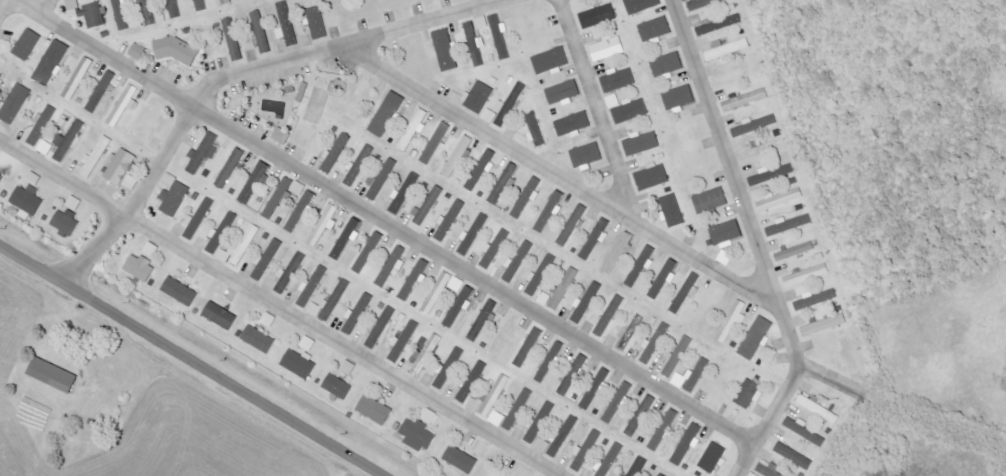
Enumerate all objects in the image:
road: (0, 0)
road: (27, 1)
building: (226, 2)
building: (703, 3)
building: (73, 5)
building: (202, 5)
building: (642, 5)
building: (175, 9)
building: (148, 12)
building: (92, 15)
building: (121, 15)
building: (598, 16)
building: (317, 23)
building: (482, 23)
building: (286, 24)
building: (720, 25)
building: (655, 29)
building: (261, 32)
building: (500, 37)
building: (233, 39)
building: (27, 44)
building: (475, 44)
building: (608, 48)
building: (727, 48)
building: (446, 50)
building: (137, 51)
building: (51, 62)
building: (667, 64)
building: (548, 65)
road: (237, 74)
building: (78, 78)
building: (619, 79)
building: (101, 92)
building: (563, 93)
building: (478, 97)
building: (679, 97)
building: (745, 100)
building: (613, 101)
building: (15, 104)
building: (124, 105)
building: (510, 105)
road: (598, 111)
building: (631, 112)
building: (387, 114)
building: (490, 116)
building: (573, 124)
building: (42, 125)
building: (754, 125)
building: (414, 129)
building: (536, 131)
building: (282, 136)
building: (67, 142)
building: (642, 143)
building: (433, 146)
building: (45, 147)
building: (763, 150)
building: (203, 154)
building: (335, 154)
building: (587, 155)
building: (96, 156)
building: (456, 159)
building: (119, 166)
building: (230, 168)
building: (481, 169)
building: (772, 174)
building: (1, 177)
road: (560, 177)
building: (34, 178)
building: (652, 178)
building: (170, 180)
building: (255, 180)
building: (131, 182)
building: (380, 182)
building: (504, 183)
building: (298, 188)
building: (758, 195)
building: (278, 198)
building: (28, 199)
building: (174, 199)
building: (780, 199)
building: (525, 200)
building: (74, 203)
building: (707, 203)
building: (428, 205)
building: (672, 210)
building: (301, 211)
building: (550, 211)
road: (379, 218)
building: (451, 220)
building: (196, 222)
building: (65, 224)
building: (325, 225)
building: (788, 225)
building: (573, 226)
building: (222, 232)
building: (726, 232)
building: (474, 235)
building: (595, 239)
road: (757, 243)
building: (241, 247)
building: (151, 249)
building: (492, 250)
building: (369, 252)
building: (795, 252)
building: (618, 253)
building: (725, 258)
building: (267, 259)
building: (519, 261)
road: (30, 265)
building: (393, 265)
building: (640, 266)
building: (140, 267)
building: (807, 275)
building: (663, 279)
building: (414, 280)
building: (457, 284)
building: (313, 287)
building: (563, 288)
building: (180, 291)
building: (687, 292)
building: (437, 293)
building: (543, 298)
building: (815, 300)
building: (330, 302)
building: (586, 302)
road: (279, 308)
building: (457, 309)
building: (357, 314)
building: (221, 315)
building: (609, 315)
building: (269, 319)
building: (482, 321)
building: (732, 321)
building: (825, 325)
building: (381, 328)
building: (756, 338)
building: (259, 339)
building: (404, 341)
building: (308, 343)
building: (655, 344)
building: (425, 355)
building: (678, 356)
building: (299, 364)
building: (348, 368)
building: (449, 368)
building: (53, 375)
building: (692, 376)
road: (222, 379)
building: (472, 382)
road: (832, 383)
building: (338, 387)
building: (595, 389)
building: (748, 393)
building: (490, 397)
building: (618, 403)
building: (819, 409)
building: (375, 410)
building: (640, 416)
building: (497, 419)
building: (540, 423)
building: (664, 430)
building: (805, 431)
building: (417, 435)
building: (563, 436)
building: (687, 444)
building: (543, 446)
building: (585, 452)
building: (794, 456)
building: (713, 458)
building: (461, 459)
building: (611, 460)
building: (639, 467)
building: (767, 470)
building: (622, 475)
building: (661, 475)
building: (752, 475)

